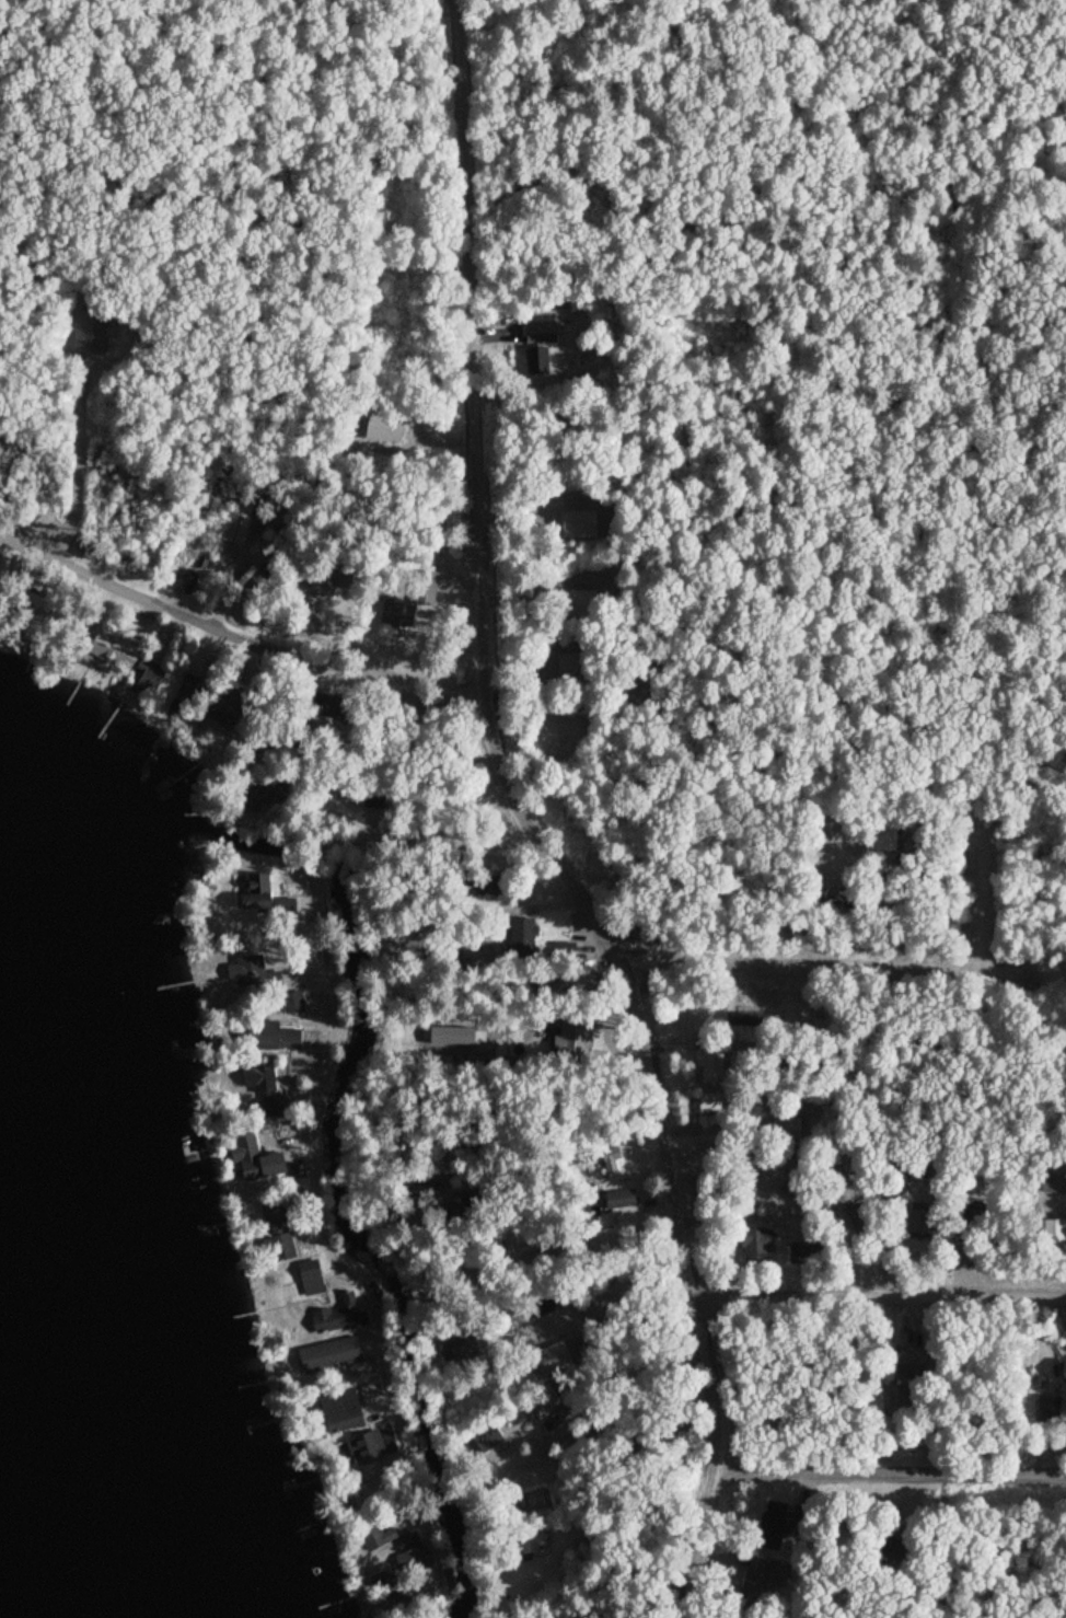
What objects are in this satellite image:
road: (471, 250)
building: (90, 328)
building: (537, 346)
building: (235, 528)
building: (38, 534)
building: (345, 579)
building: (184, 580)
building: (311, 587)
building: (425, 588)
road: (233, 634)
building: (112, 650)
building: (572, 668)
building: (147, 677)
building: (264, 796)
building: (373, 799)
building: (883, 835)
building: (981, 862)
building: (487, 890)
building: (253, 892)
building: (522, 939)
building: (567, 948)
road: (795, 966)
building: (252, 972)
building: (293, 1002)
building: (795, 1016)
building: (751, 1021)
building: (267, 1036)
building: (572, 1041)
road: (648, 1042)
building: (710, 1065)
building: (254, 1078)
road: (314, 1098)
building: (708, 1101)
building: (787, 1128)
building: (253, 1158)
building: (621, 1199)
building: (919, 1222)
building: (277, 1234)
building: (1054, 1235)
building: (755, 1244)
building: (802, 1255)
building: (310, 1279)
road: (879, 1299)
building: (540, 1305)
building: (339, 1317)
building: (462, 1349)
building: (335, 1357)
building: (552, 1357)
building: (907, 1361)
building: (1064, 1373)
building: (900, 1396)
building: (543, 1400)
building: (1047, 1408)
building: (339, 1412)
building: (486, 1438)
building: (362, 1447)
road: (890, 1475)
building: (772, 1526)
building: (375, 1533)
building: (533, 1542)
building: (414, 1560)
building: (760, 1583)

